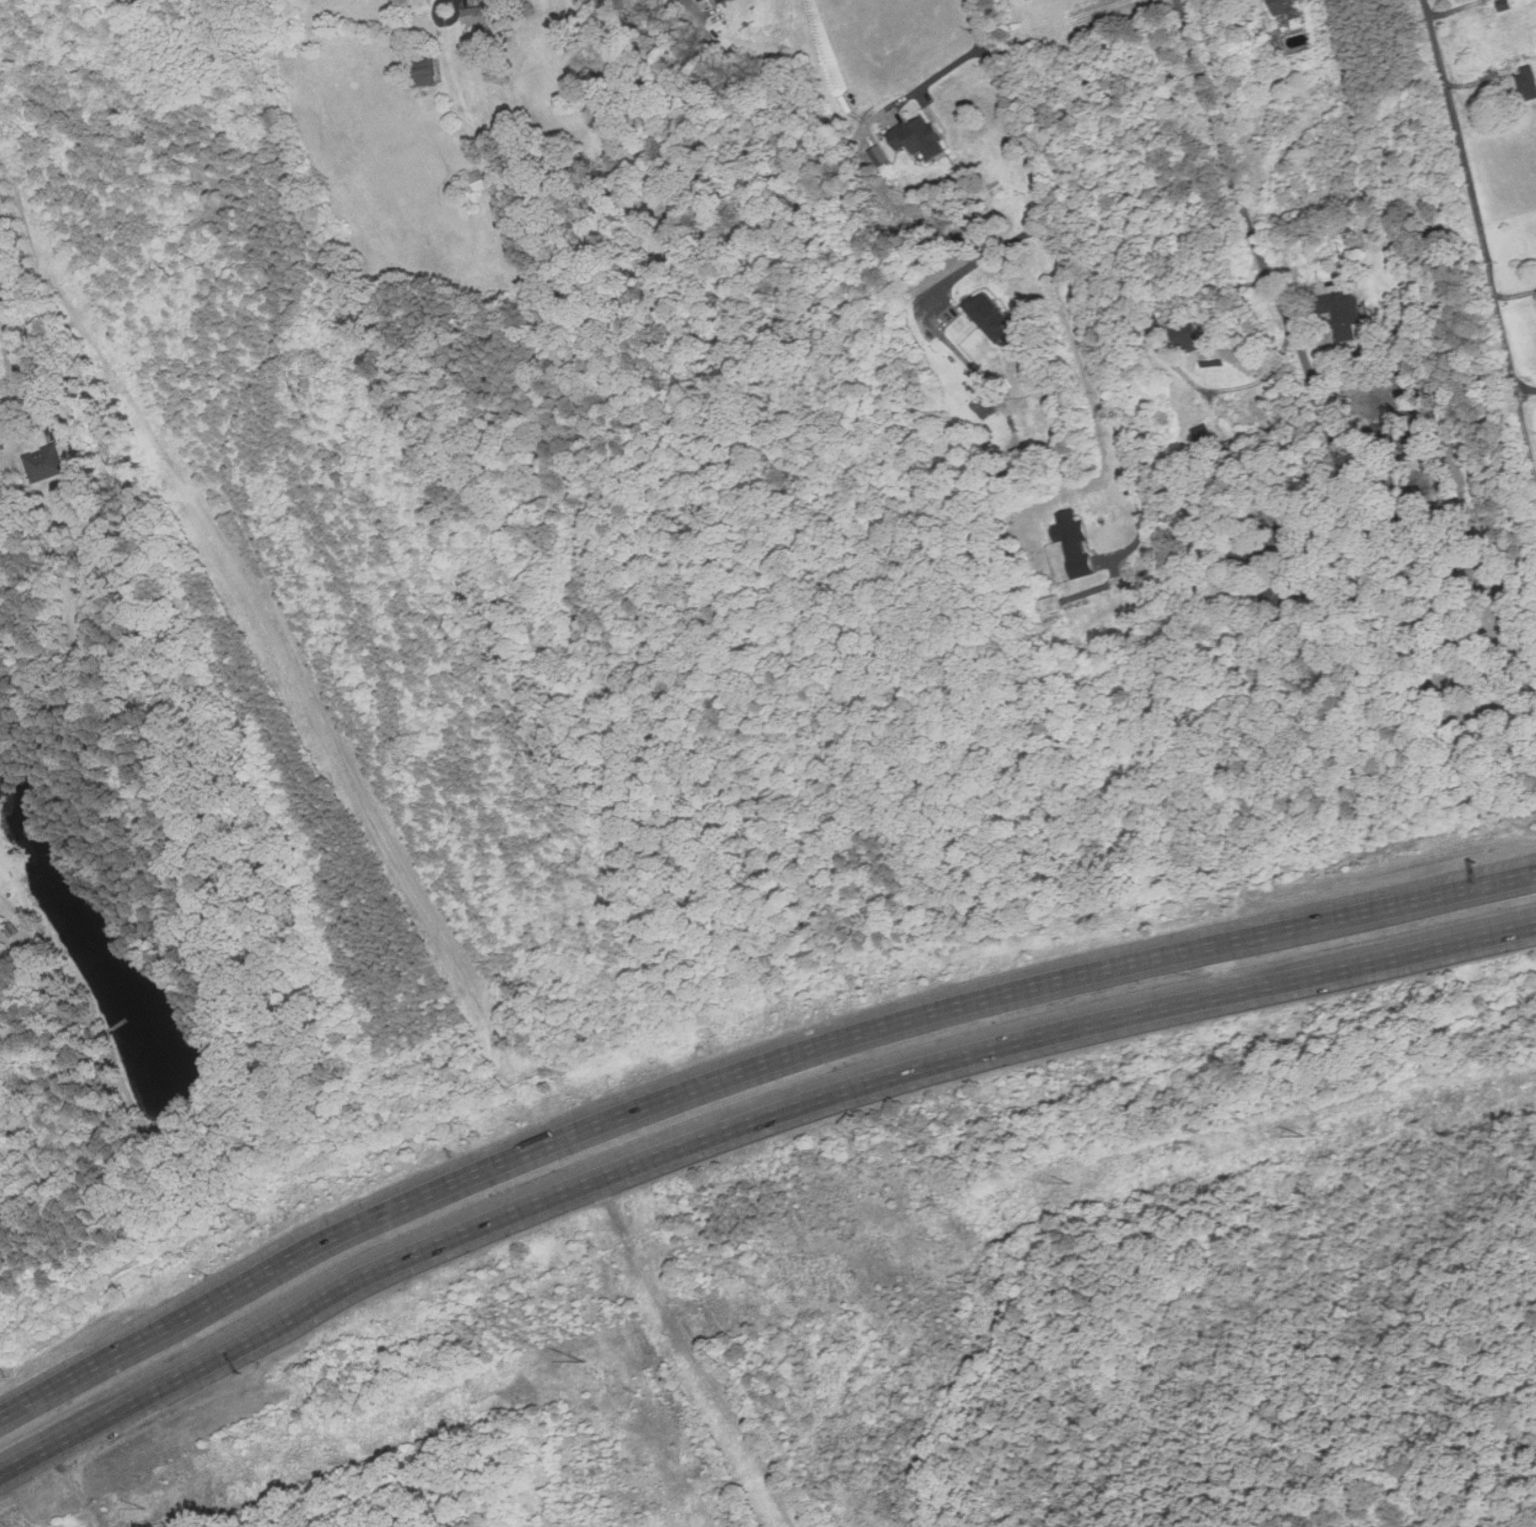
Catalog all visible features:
building: (723, 0)
building: (1505, 5)
road: (694, 6)
building: (1286, 6)
building: (491, 14)
road: (447, 17)
building: (426, 72)
building: (1528, 82)
building: (919, 138)
building: (478, 182)
road: (1483, 234)
road: (1260, 252)
road: (986, 257)
road: (1059, 257)
road: (1516, 295)
road: (33, 307)
building: (1343, 313)
building: (990, 316)
building: (1186, 336)
road: (1223, 389)
road: (1528, 395)
building: (984, 405)
building: (1204, 435)
building: (48, 462)
building: (1075, 543)
road: (1312, 599)
road: (294, 649)
road: (742, 1074)
road: (741, 1127)
road: (77, 1486)

